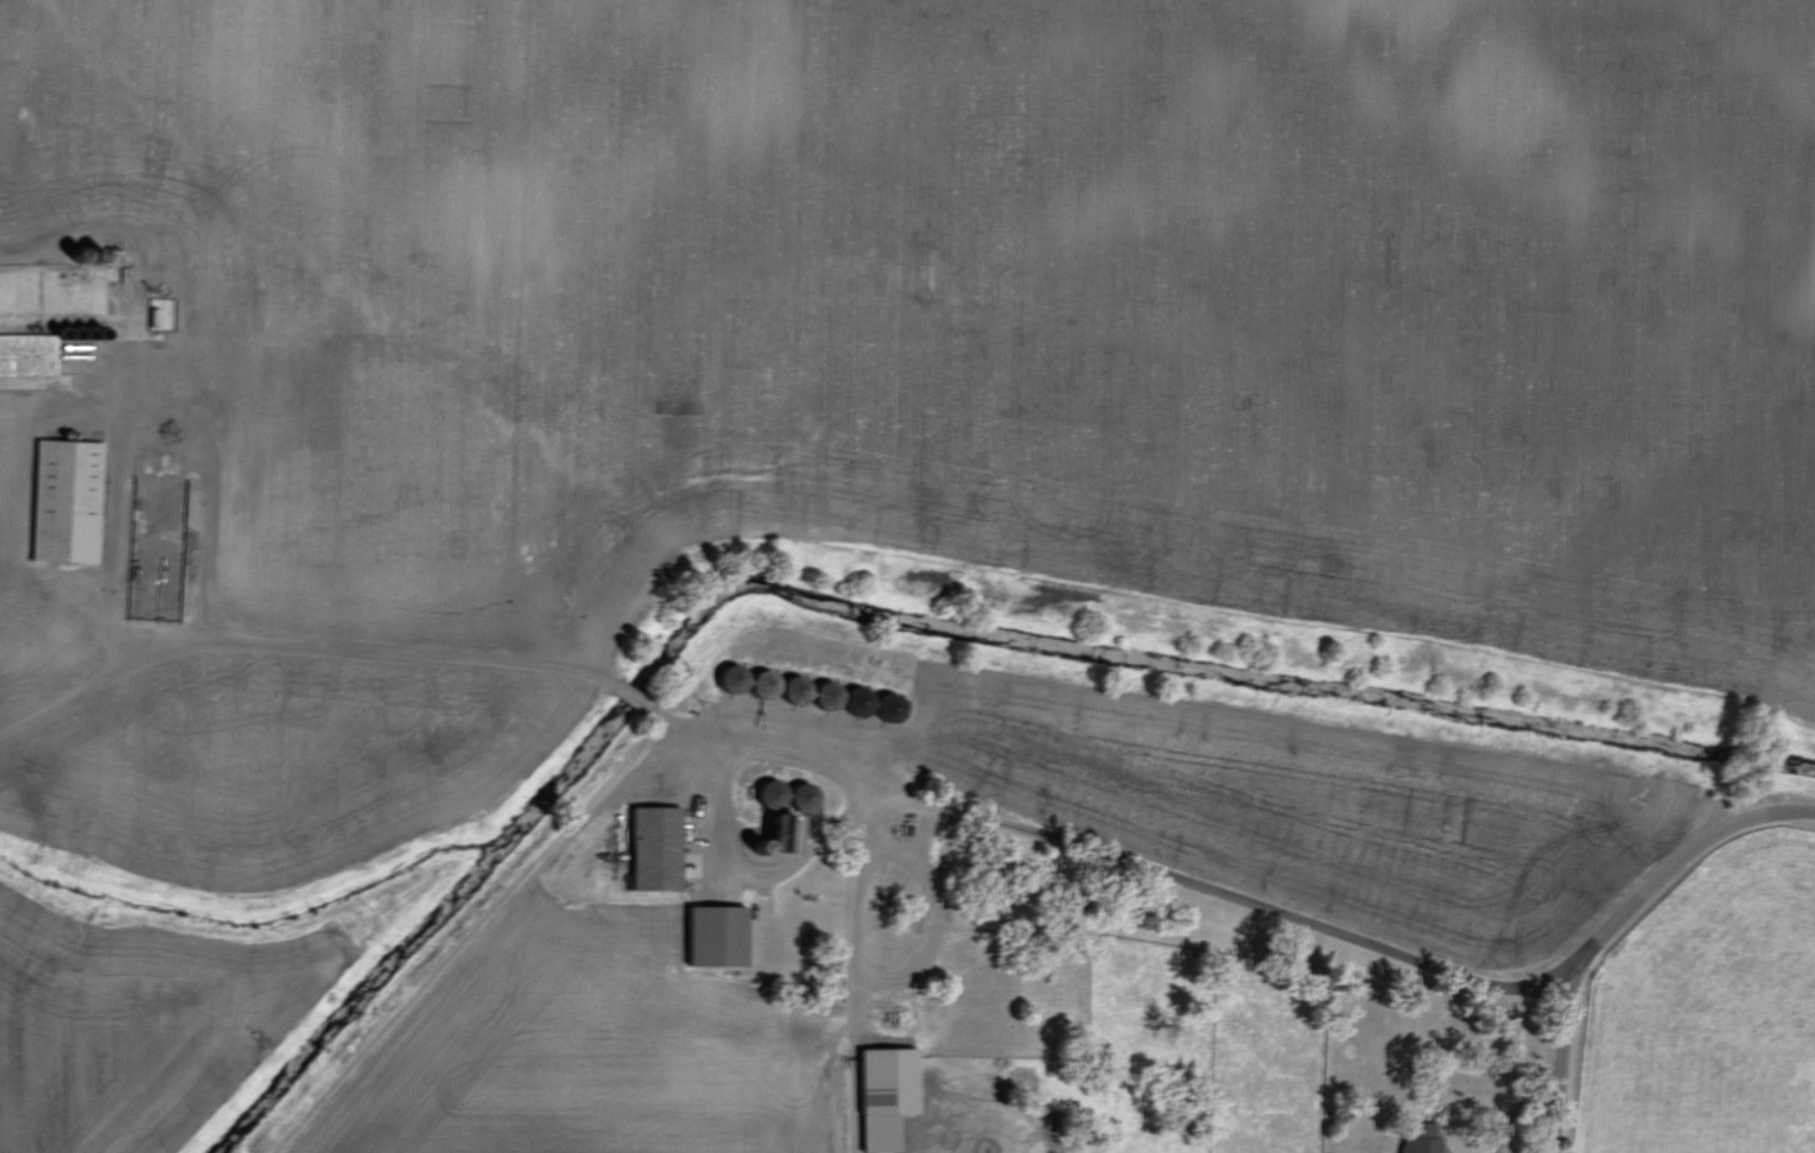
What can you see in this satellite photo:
building: (31, 356)
road: (160, 401)
building: (74, 501)
road: (794, 747)
building: (665, 849)
road: (1681, 860)
road: (857, 891)
building: (726, 937)
road: (1566, 1058)
road: (831, 1059)

